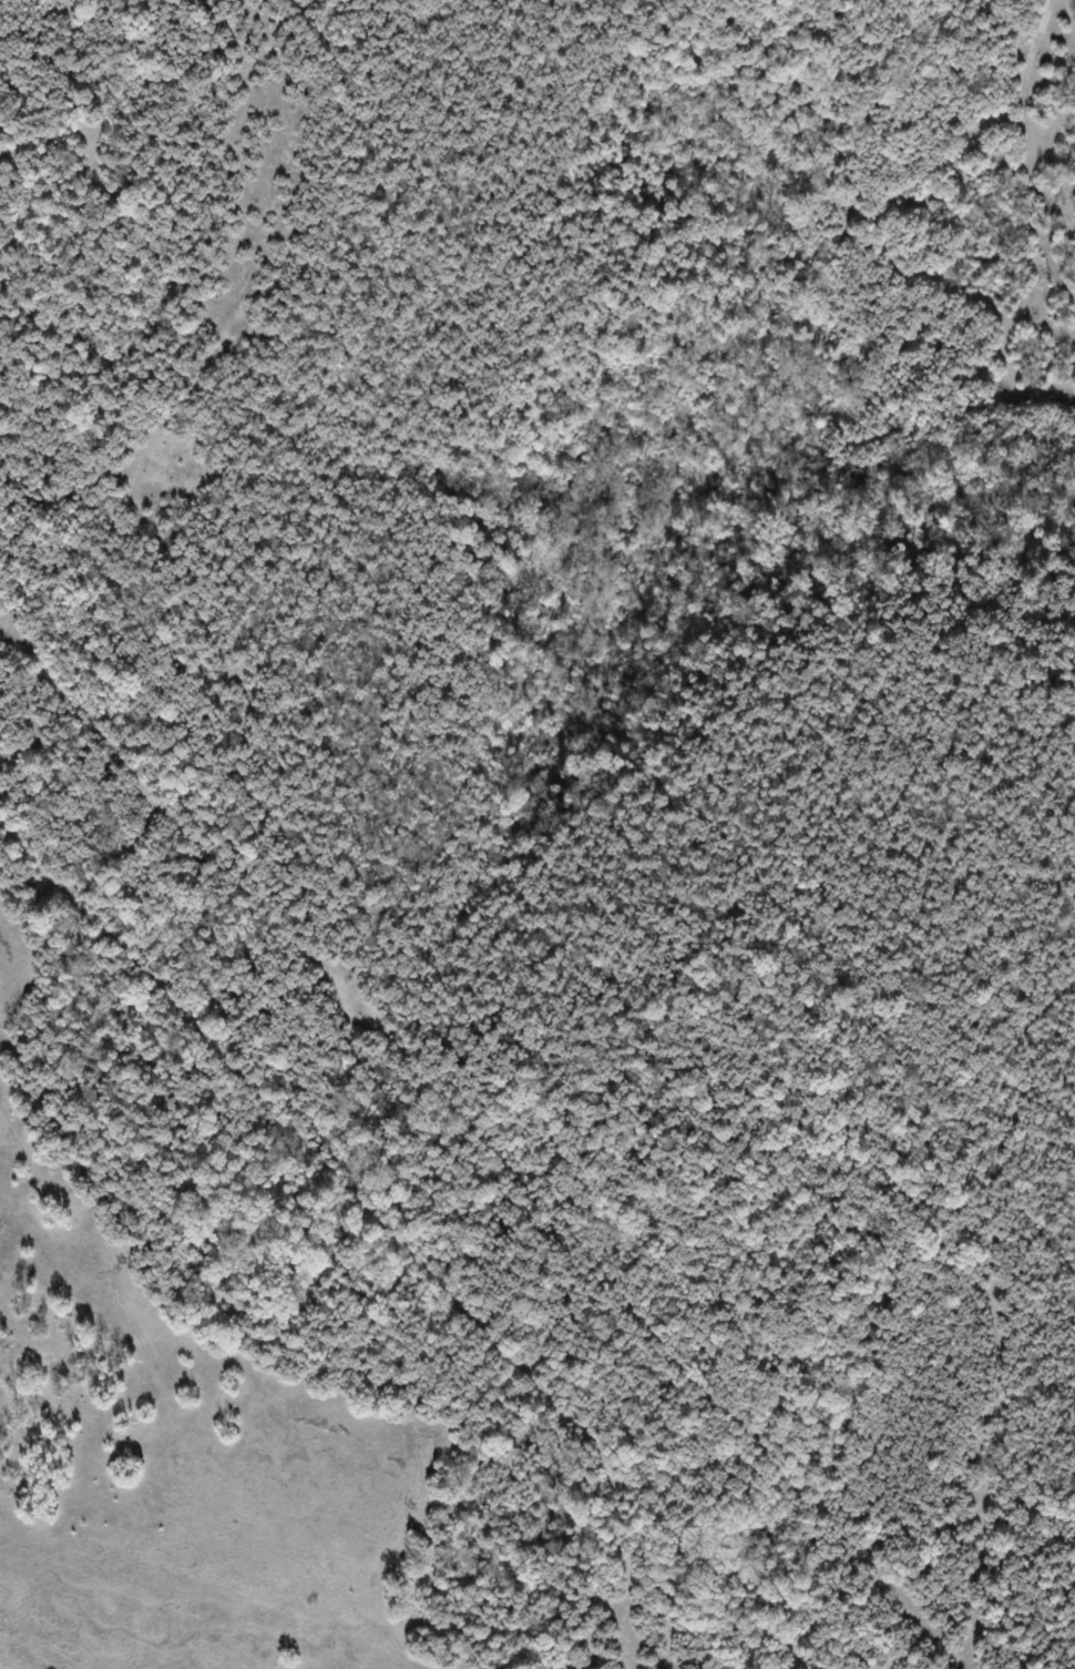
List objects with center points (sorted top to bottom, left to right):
road: (1064, 51)
road: (4, 1666)

